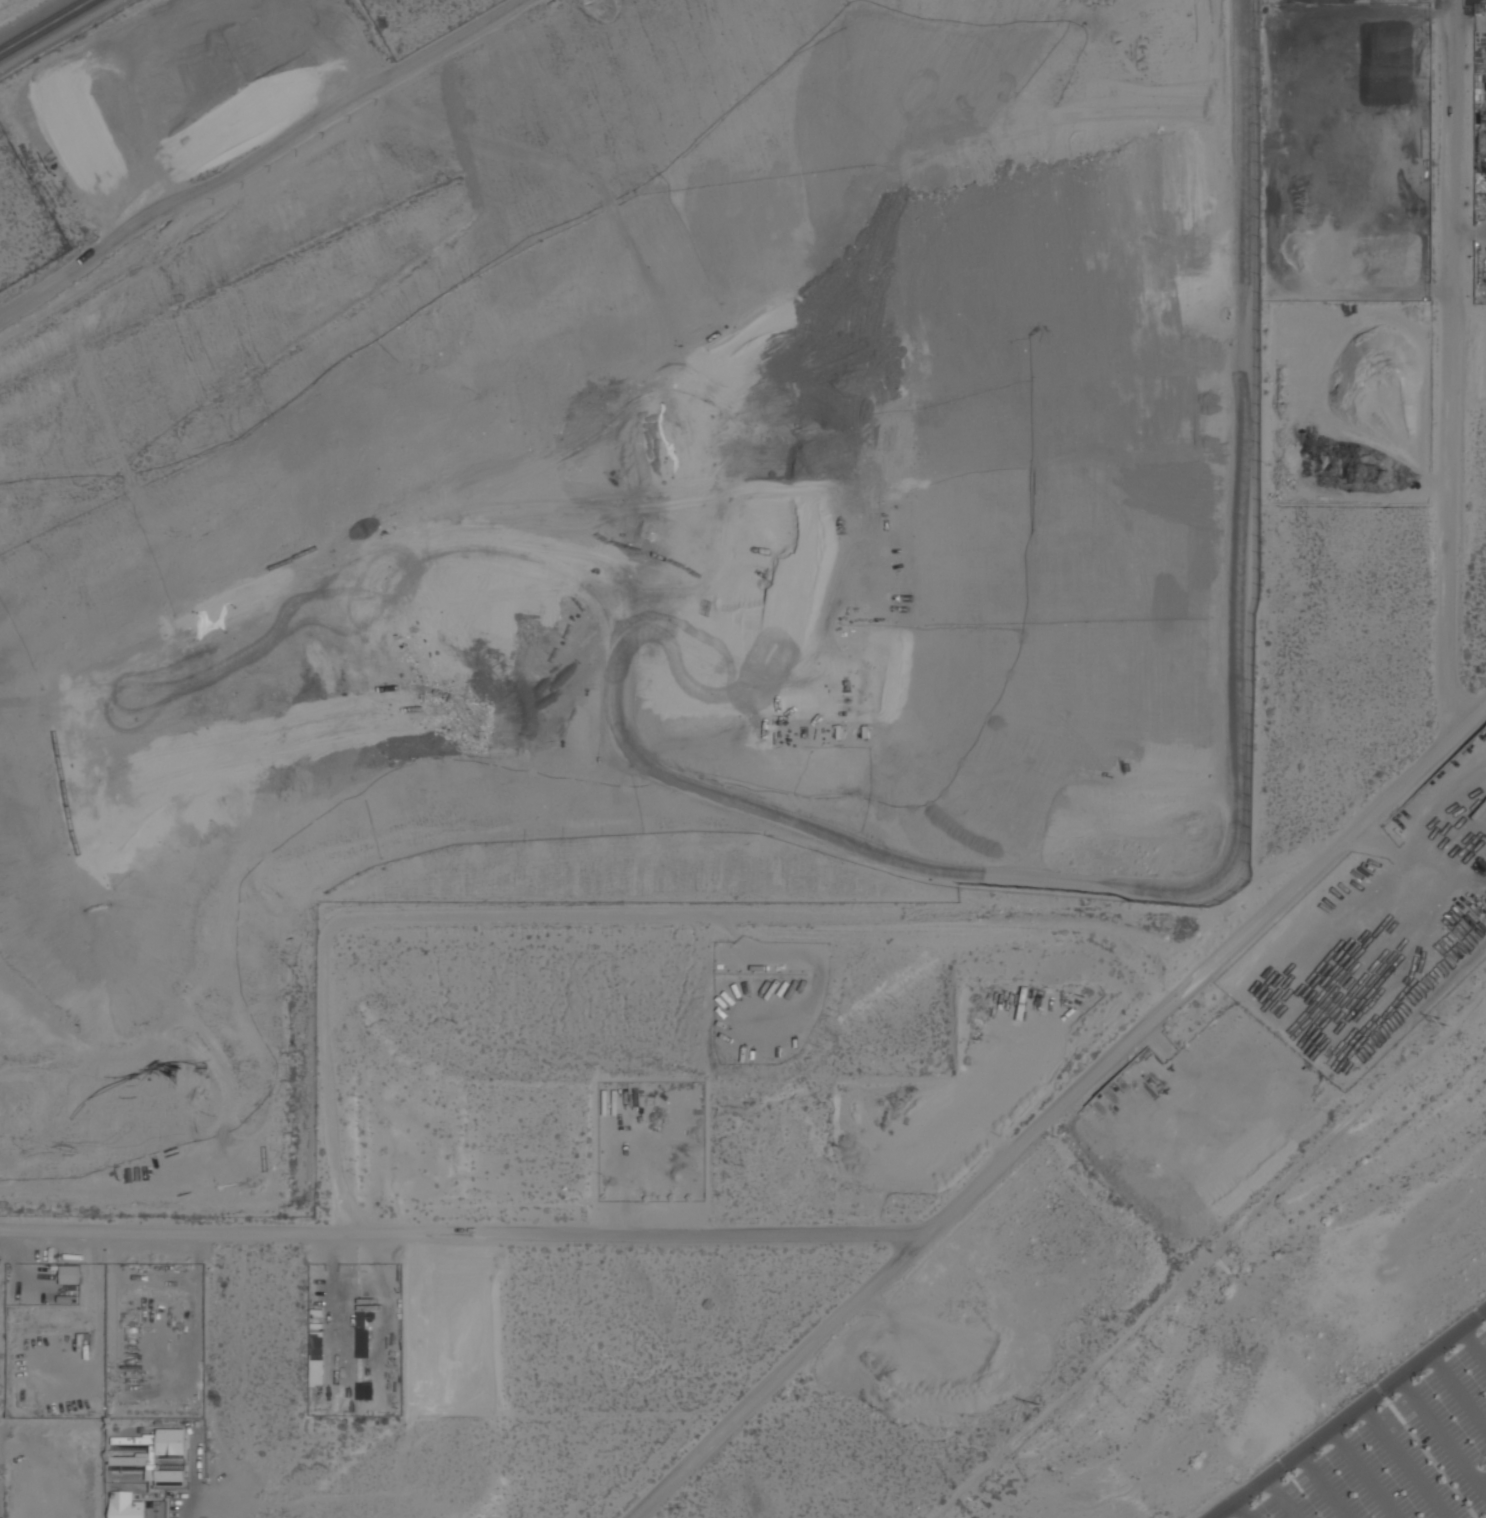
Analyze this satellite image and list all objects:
road: (47, 27)
landfill: (582, 705)
road: (1465, 715)
power tower: (1445, 1023)
road: (1115, 1051)
building: (70, 1273)
road: (1472, 1346)
building: (316, 1357)
road: (777, 1382)
road: (1456, 1391)
power tower: (1040, 1404)
road: (1348, 1412)
road: (1441, 1436)
building: (151, 1455)
road: (1404, 1461)
road: (1362, 1473)
road: (1320, 1485)
road: (1280, 1497)
road: (190, 1502)
building: (126, 1505)
road: (1238, 1510)

